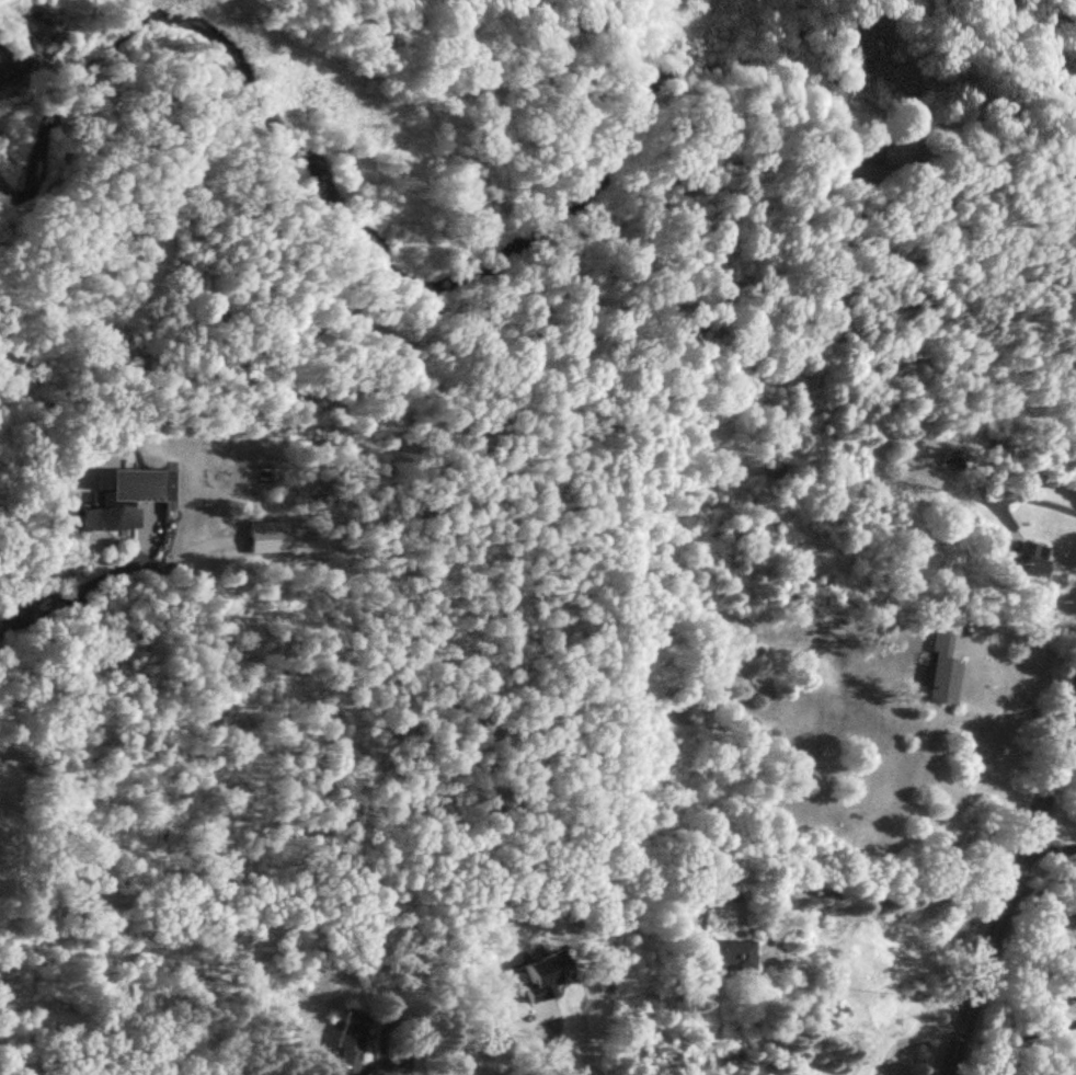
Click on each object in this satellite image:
building: (878, 56)
road: (1000, 79)
road: (1026, 496)
building: (106, 506)
building: (1026, 557)
road: (64, 591)
building: (940, 668)
road: (1019, 685)
road: (1052, 843)
road: (868, 887)
road: (1010, 891)
road: (1044, 897)
building: (721, 952)
road: (1023, 1033)
building: (348, 1039)
road: (541, 1052)
road: (573, 1062)
road: (389, 1067)

